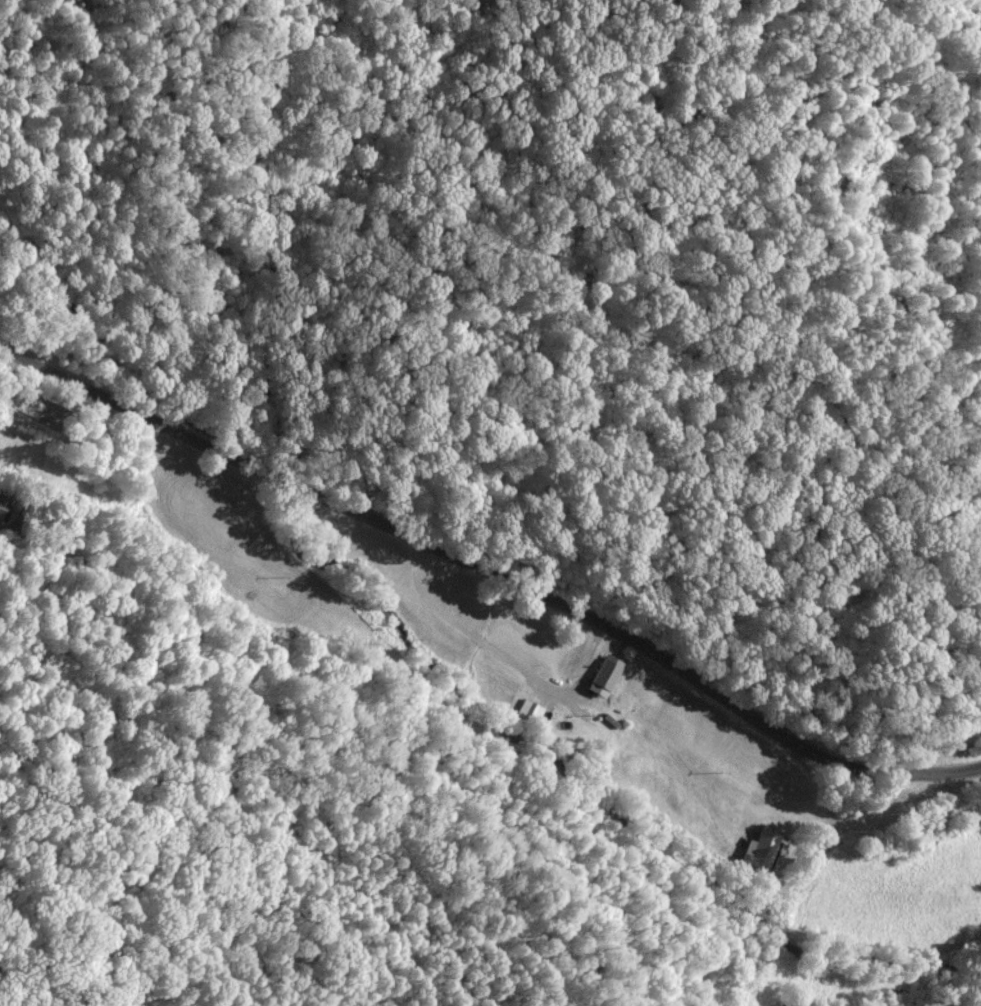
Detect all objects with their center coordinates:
building: (1, 506)
road: (490, 573)
building: (607, 673)
building: (529, 711)
road: (812, 846)
building: (761, 850)

